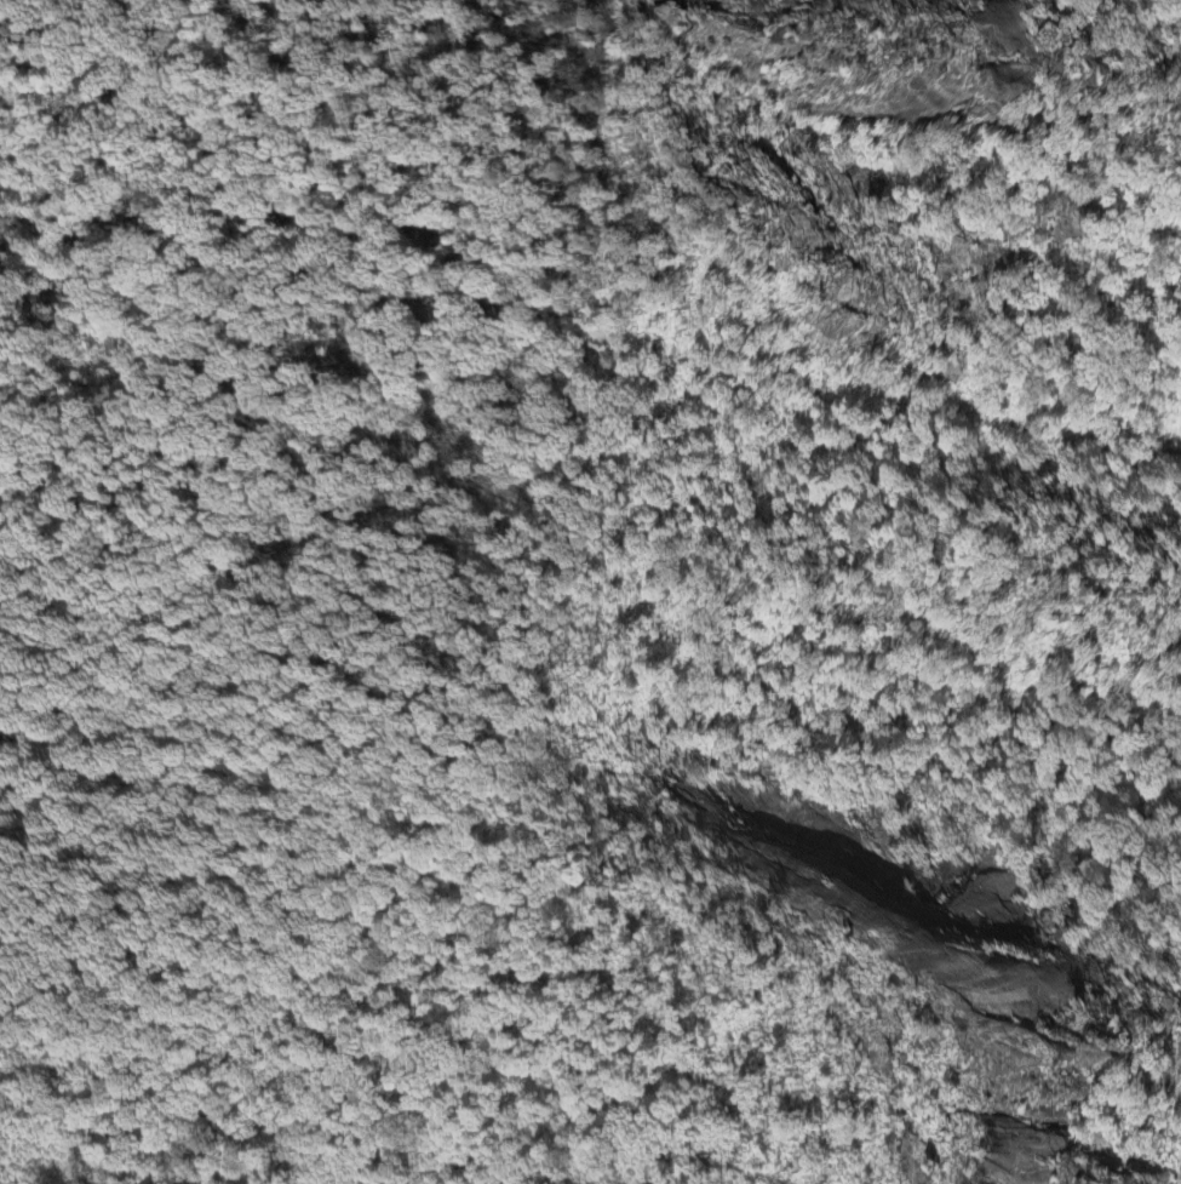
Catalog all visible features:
road: (1034, 84)
road: (676, 221)
road: (486, 252)
road: (311, 463)
park: (590, 591)
road: (515, 745)

